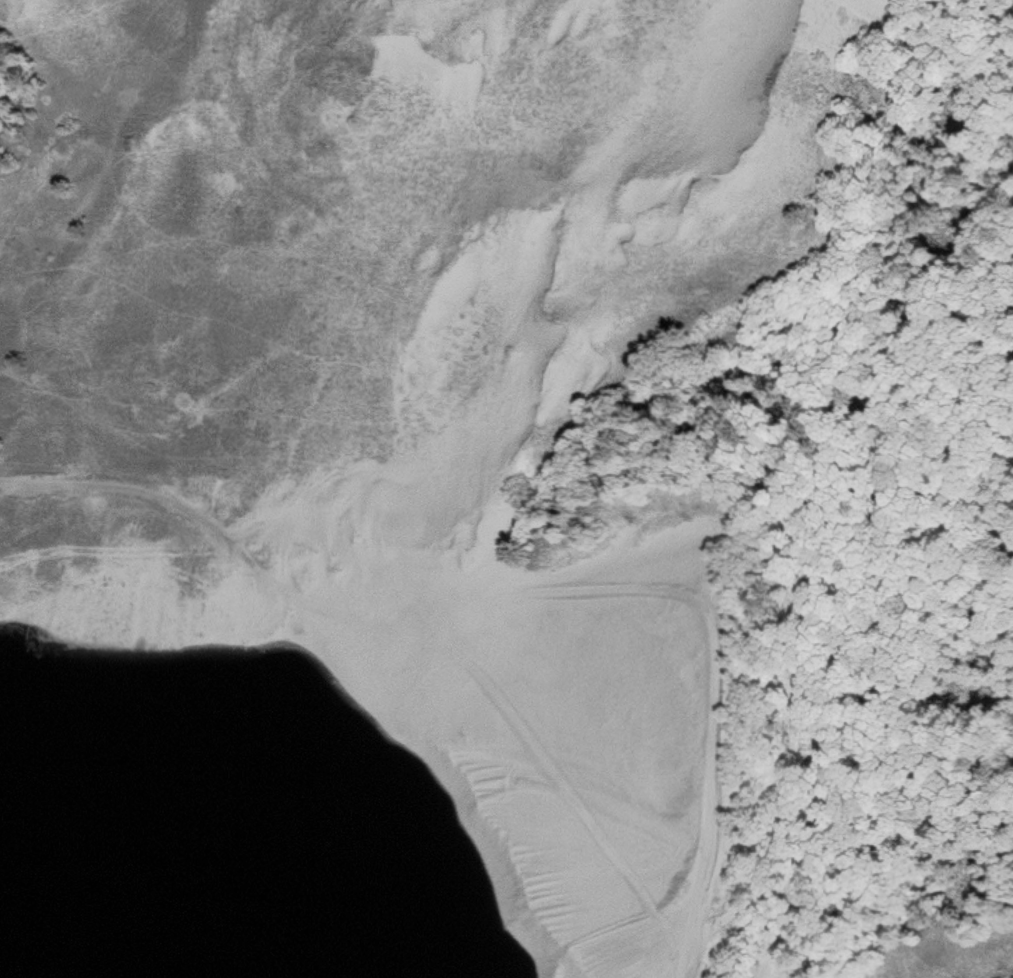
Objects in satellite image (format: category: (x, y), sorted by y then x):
park: (506, 489)

